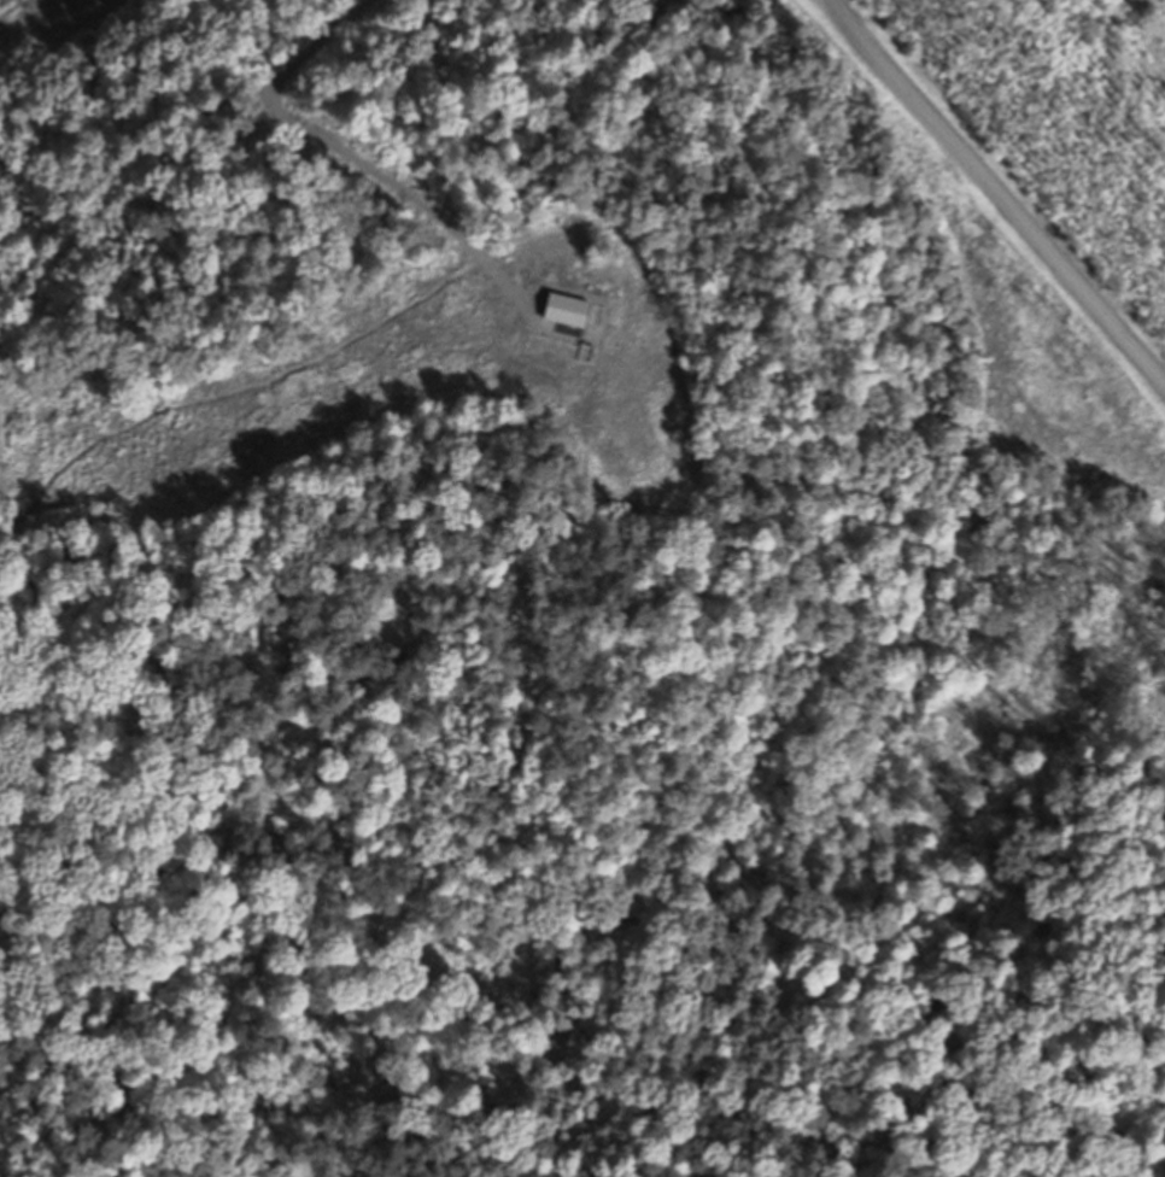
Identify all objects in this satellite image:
road: (995, 195)

